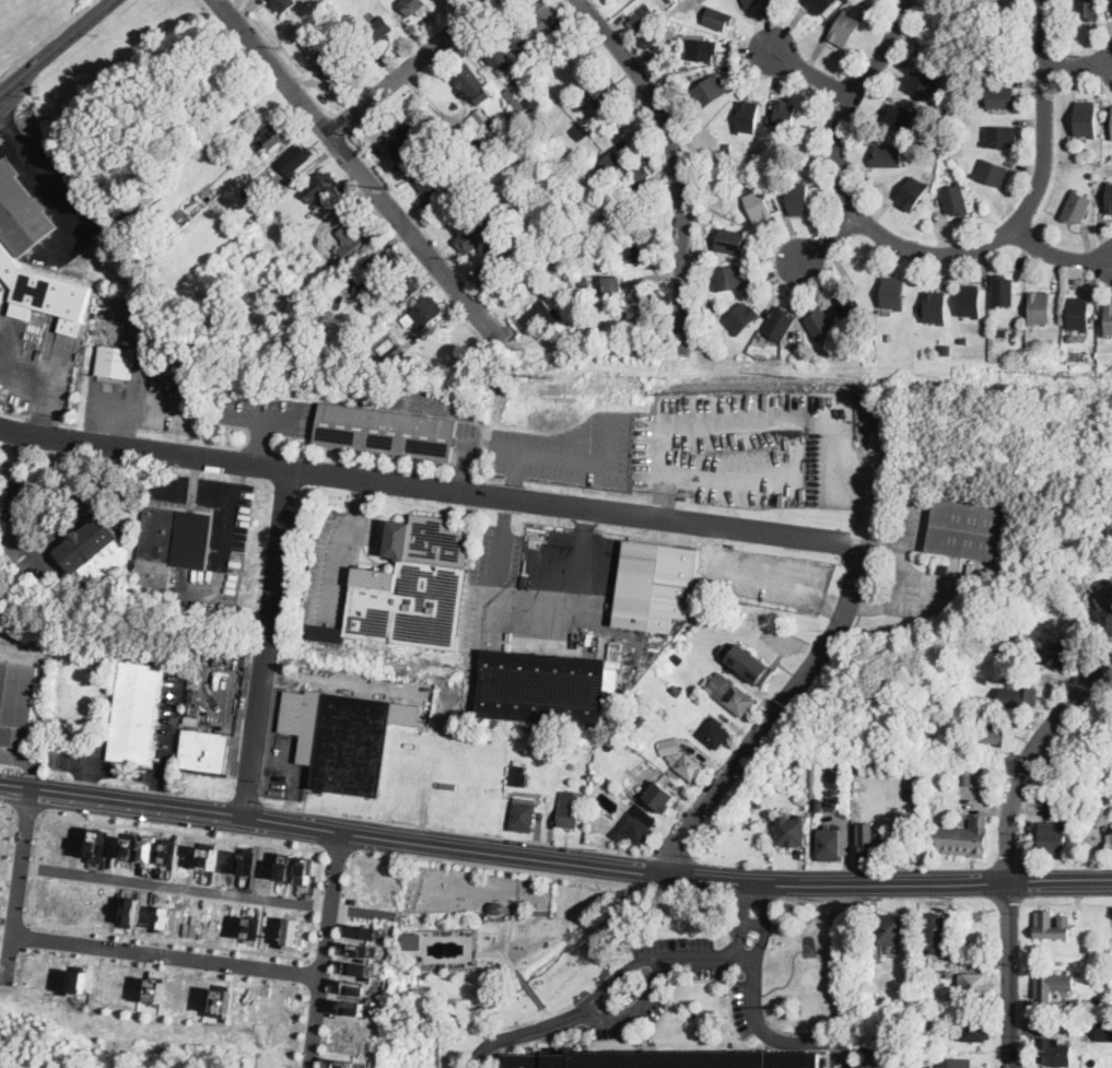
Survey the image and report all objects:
building: (751, 3)
building: (284, 4)
building: (388, 4)
building: (412, 5)
building: (821, 5)
building: (1088, 9)
building: (546, 16)
building: (642, 17)
building: (718, 19)
park: (30, 25)
building: (669, 26)
building: (381, 28)
building: (845, 30)
building: (656, 33)
building: (574, 38)
building: (519, 40)
road: (56, 46)
building: (702, 50)
building: (498, 56)
road: (1079, 62)
building: (332, 66)
road: (409, 67)
road: (811, 73)
building: (955, 80)
building: (472, 84)
building: (921, 84)
building: (746, 90)
building: (965, 90)
building: (605, 92)
building: (710, 92)
building: (1002, 97)
building: (515, 101)
building: (532, 102)
building: (578, 108)
building: (481, 115)
building: (783, 116)
building: (747, 117)
building: (900, 117)
building: (768, 118)
building: (1086, 118)
building: (475, 121)
road: (7, 131)
building: (580, 132)
building: (1111, 132)
building: (500, 134)
building: (1002, 136)
building: (272, 137)
building: (405, 140)
building: (487, 148)
building: (727, 148)
building: (471, 149)
building: (888, 156)
building: (295, 159)
road: (678, 161)
building: (614, 164)
road: (309, 167)
road: (360, 173)
building: (993, 174)
building: (539, 178)
building: (641, 179)
building: (429, 181)
building: (584, 186)
building: (321, 187)
power tower: (396, 188)
building: (570, 189)
building: (617, 191)
road: (49, 193)
building: (245, 193)
building: (913, 193)
building: (1110, 198)
building: (798, 199)
building: (956, 199)
building: (254, 204)
building: (759, 206)
building: (1077, 208)
building: (21, 213)
building: (606, 214)
building: (477, 238)
road: (828, 238)
building: (730, 242)
building: (352, 246)
road: (933, 253)
building: (643, 254)
road: (1058, 254)
building: (624, 261)
building: (386, 266)
building: (612, 269)
building: (361, 272)
building: (730, 278)
building: (574, 279)
building: (585, 283)
building: (319, 286)
building: (368, 286)
building: (405, 287)
building: (44, 291)
building: (1003, 291)
building: (576, 292)
building: (893, 293)
building: (630, 301)
building: (971, 301)
building: (848, 306)
building: (936, 307)
building: (1040, 307)
building: (426, 313)
building: (1079, 314)
building: (540, 316)
building: (742, 318)
building: (1108, 320)
building: (780, 324)
building: (820, 324)
building: (198, 330)
building: (1003, 331)
building: (1069, 337)
building: (964, 341)
building: (944, 351)
building: (399, 352)
building: (762, 354)
building: (375, 355)
building: (353, 359)
building: (115, 364)
power tower: (1077, 375)
power tower: (803, 376)
power tower: (552, 378)
parking lot: (140, 403)
parking lot: (262, 413)
road: (14, 414)
road: (259, 418)
building: (386, 431)
road: (261, 442)
parking lot: (724, 445)
parking lot: (571, 450)
parking lot: (0, 455)
road: (549, 456)
road: (431, 488)
road: (214, 494)
road: (9, 506)
building: (965, 530)
road: (501, 539)
road: (343, 543)
building: (172, 544)
building: (95, 551)
road: (582, 560)
building: (1086, 562)
building: (941, 566)
parking lot: (920, 570)
road: (901, 572)
parking lot: (766, 576)
road: (751, 577)
parking lot: (489, 579)
building: (655, 586)
building: (410, 589)
road: (868, 589)
road: (832, 603)
building: (1105, 619)
road: (267, 642)
building: (1057, 656)
building: (676, 657)
building: (746, 664)
road: (812, 665)
road: (336, 680)
building: (543, 688)
building: (678, 691)
building: (730, 694)
building: (1020, 695)
building: (16, 703)
parking lot: (169, 708)
building: (134, 714)
road: (171, 719)
building: (642, 720)
building: (715, 731)
building: (996, 733)
building: (343, 738)
building: (570, 747)
building: (204, 751)
building: (525, 752)
parking lot: (81, 756)
road: (1028, 756)
building: (680, 758)
road: (269, 763)
building: (858, 763)
road: (85, 765)
building: (518, 774)
road: (86, 779)
building: (972, 779)
road: (292, 781)
road: (161, 791)
building: (1077, 793)
building: (663, 794)
building: (933, 794)
building: (1066, 802)
building: (818, 806)
building: (570, 810)
road: (26, 811)
building: (524, 813)
building: (639, 825)
road: (10, 828)
building: (792, 831)
road: (183, 832)
building: (967, 837)
building: (1053, 837)
building: (100, 844)
building: (829, 844)
building: (869, 844)
building: (1110, 846)
building: (149, 850)
building: (169, 850)
road: (339, 852)
road: (503, 853)
building: (208, 857)
building: (286, 867)
road: (35, 869)
building: (306, 871)
road: (566, 876)
road: (1060, 878)
road: (19, 882)
road: (176, 888)
road: (758, 900)
road: (820, 900)
road: (316, 903)
building: (496, 907)
building: (131, 908)
road: (744, 919)
road: (766, 922)
road: (754, 923)
building: (1052, 926)
building: (890, 929)
building: (364, 931)
road: (510, 932)
building: (934, 932)
road: (168, 939)
building: (412, 939)
road: (327, 949)
building: (362, 949)
building: (1087, 949)
road: (491, 953)
road: (167, 955)
building: (924, 955)
road: (701, 958)
road: (340, 960)
building: (361, 966)
building: (943, 974)
road: (1009, 974)
building: (80, 981)
building: (974, 985)
building: (1053, 985)
building: (156, 990)
road: (534, 993)
building: (936, 994)
building: (222, 999)
building: (949, 1001)
building: (1108, 1004)
building: (1082, 1005)
building: (355, 1007)
road: (636, 1008)
building: (974, 1026)
building: (1105, 1030)
building: (1053, 1052)
road: (847, 1056)
building: (666, 1059)
building: (933, 1059)
building: (347, 1063)
building: (955, 1063)
parking lot: (846, 1064)
building: (927, 1066)

